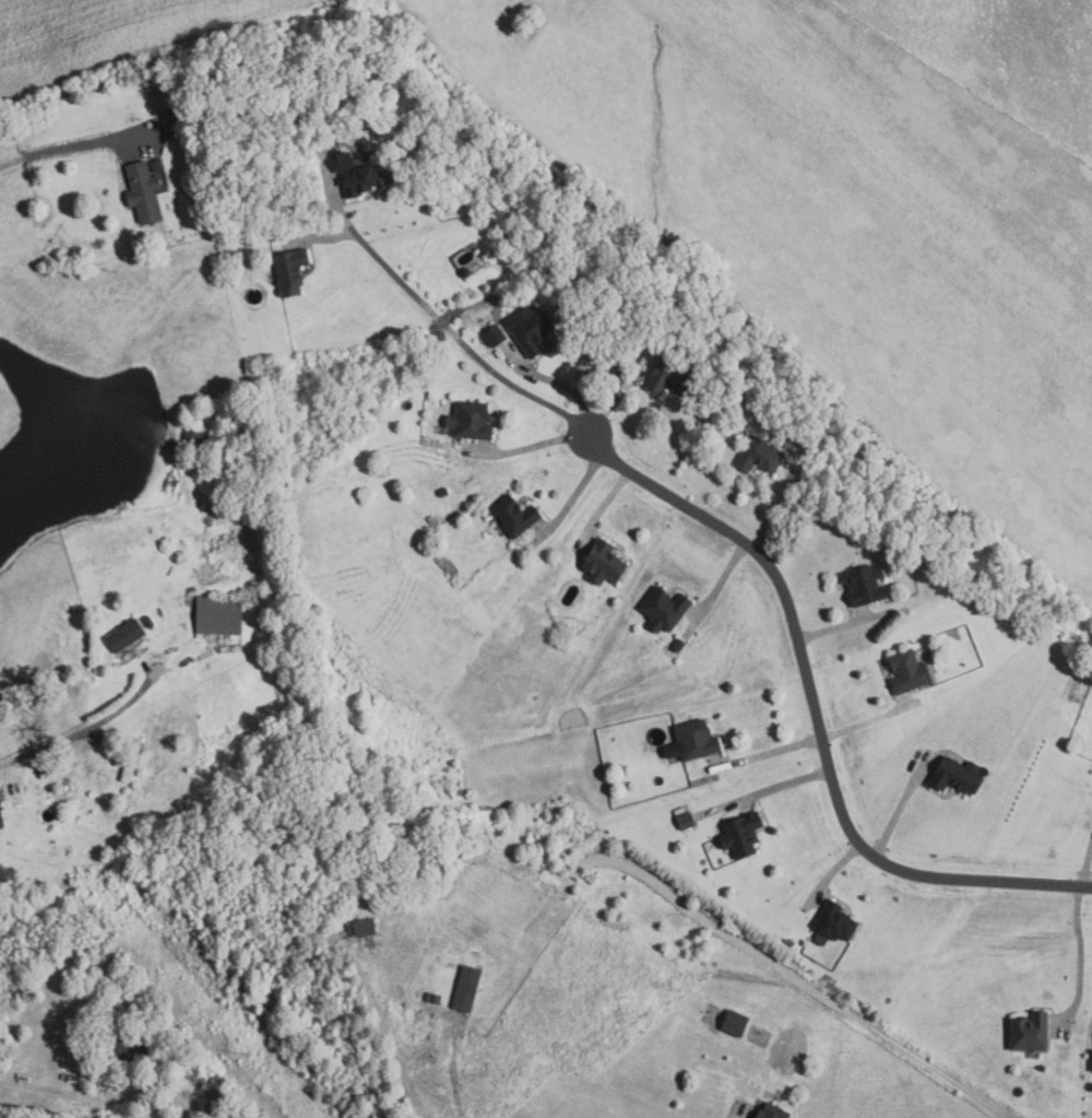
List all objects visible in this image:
building: (173, 123)
road: (36, 154)
building: (156, 164)
building: (356, 173)
road: (334, 186)
building: (142, 191)
building: (505, 236)
road: (322, 238)
building: (289, 270)
building: (529, 328)
building: (494, 336)
road: (461, 340)
building: (669, 376)
road: (558, 380)
road: (618, 396)
building: (470, 420)
building: (194, 436)
road: (527, 448)
building: (759, 456)
road: (713, 475)
building: (443, 491)
road: (573, 498)
road: (601, 509)
building: (513, 515)
building: (603, 562)
building: (863, 585)
road: (716, 590)
building: (663, 609)
building: (218, 615)
road: (844, 625)
building: (124, 636)
building: (678, 645)
building: (907, 671)
road: (145, 682)
road: (816, 714)
road: (72, 734)
road: (814, 739)
building: (691, 741)
road: (103, 744)
building: (130, 760)
building: (44, 770)
building: (956, 776)
road: (10, 780)
building: (67, 787)
road: (765, 791)
road: (900, 807)
building: (686, 820)
building: (1, 821)
building: (740, 835)
road: (1087, 866)
road: (831, 874)
building: (833, 923)
building: (360, 928)
road: (1081, 957)
building: (466, 988)
building: (434, 998)
building: (735, 1023)
building: (1030, 1032)
building: (130, 1051)
power tower: (251, 1054)
building: (1091, 1059)
road: (446, 1073)
road: (51, 1076)
building: (770, 1110)
road: (737, 1114)

